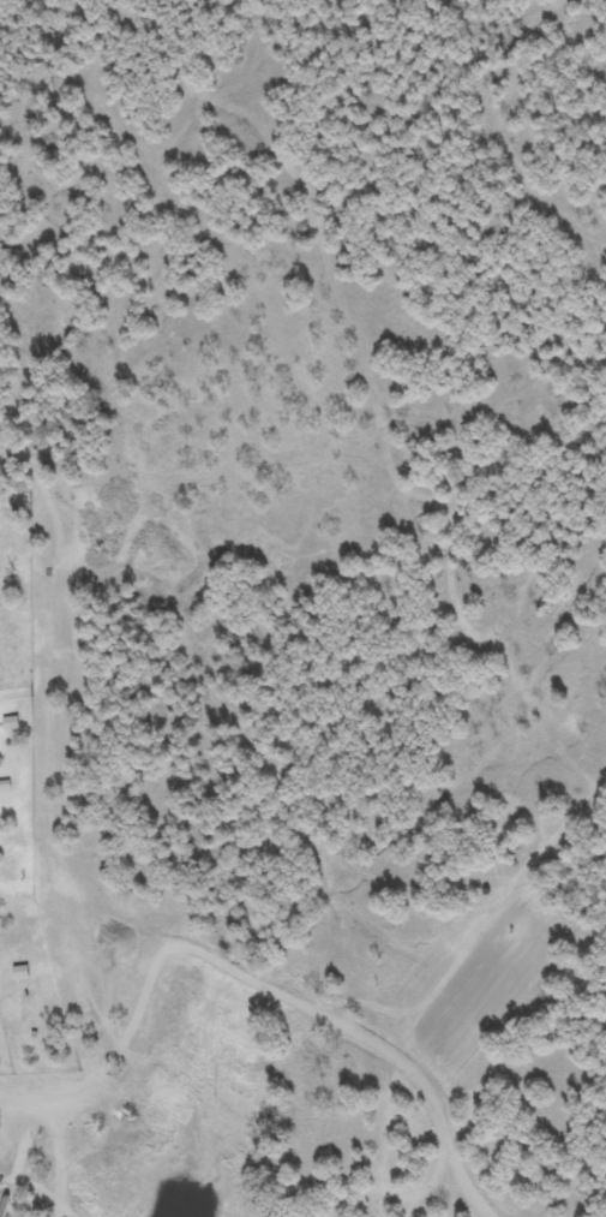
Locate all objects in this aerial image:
road: (252, 984)

